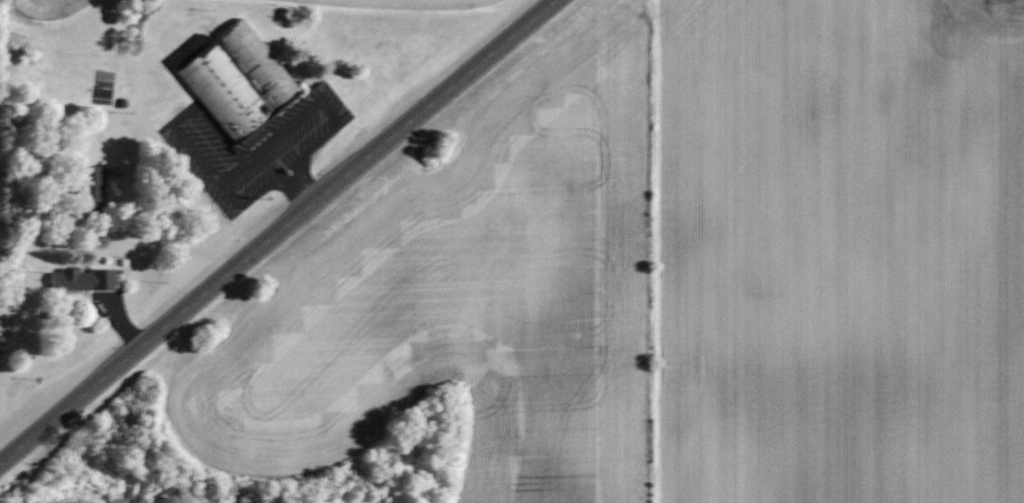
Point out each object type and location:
building: (235, 80)
road: (273, 141)
building: (88, 189)
road: (302, 192)
road: (279, 231)
building: (81, 279)

